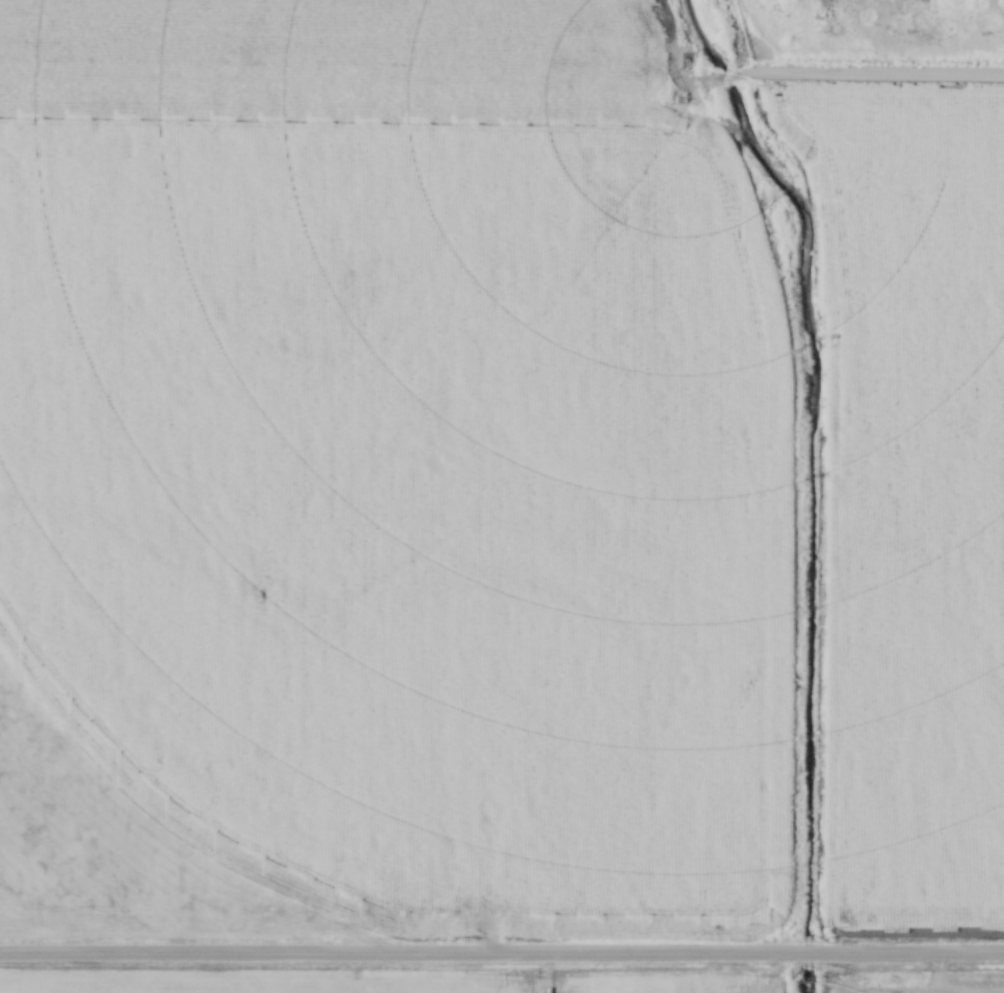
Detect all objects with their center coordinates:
road: (502, 955)

